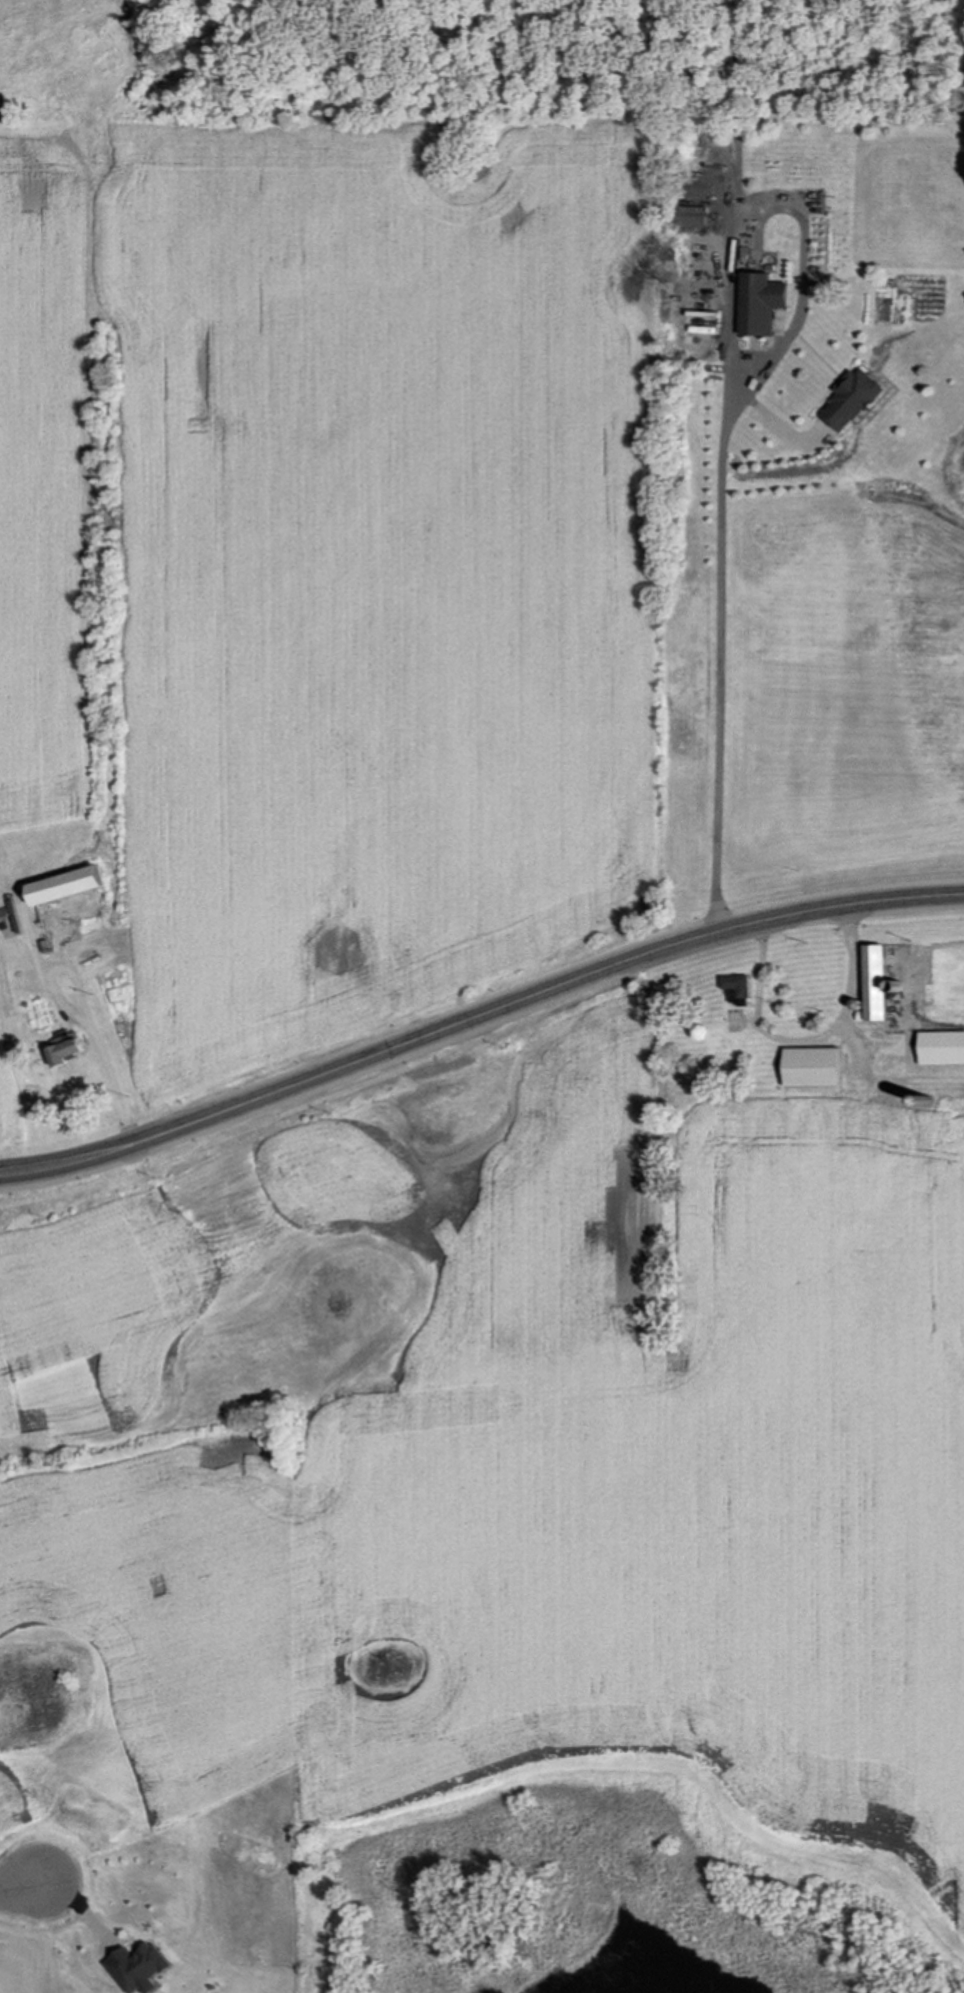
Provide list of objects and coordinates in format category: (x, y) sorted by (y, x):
building: (764, 303)
building: (858, 399)
road: (719, 423)
road: (787, 428)
building: (75, 886)
building: (880, 984)
building: (738, 990)
road: (477, 1017)
road: (809, 1040)
building: (943, 1049)
building: (72, 1054)
road: (112, 1068)
building: (816, 1068)
building: (839, 1116)
road: (15, 1886)

